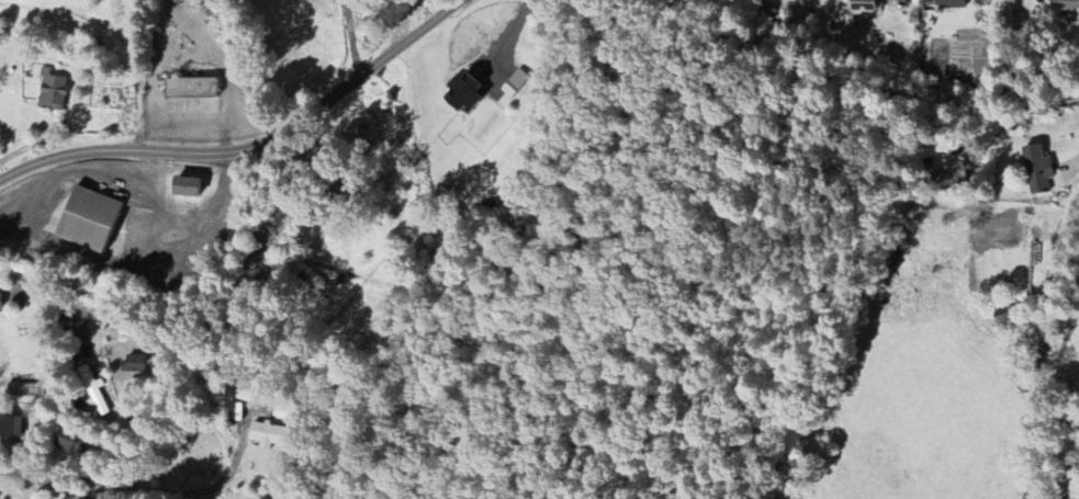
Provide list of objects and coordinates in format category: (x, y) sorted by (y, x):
building: (1065, 0)
building: (945, 2)
building: (862, 5)
road: (510, 31)
road: (350, 36)
building: (190, 87)
building: (52, 90)
building: (461, 93)
road: (1016, 114)
road: (248, 146)
road: (1067, 167)
building: (1036, 170)
building: (949, 175)
building: (184, 185)
building: (88, 218)
road: (157, 224)
road: (41, 288)
building: (0, 304)
building: (1005, 324)
road: (1041, 347)
building: (25, 388)
building: (94, 390)
building: (11, 427)
building: (268, 434)
building: (69, 442)
road: (45, 483)
road: (191, 490)

